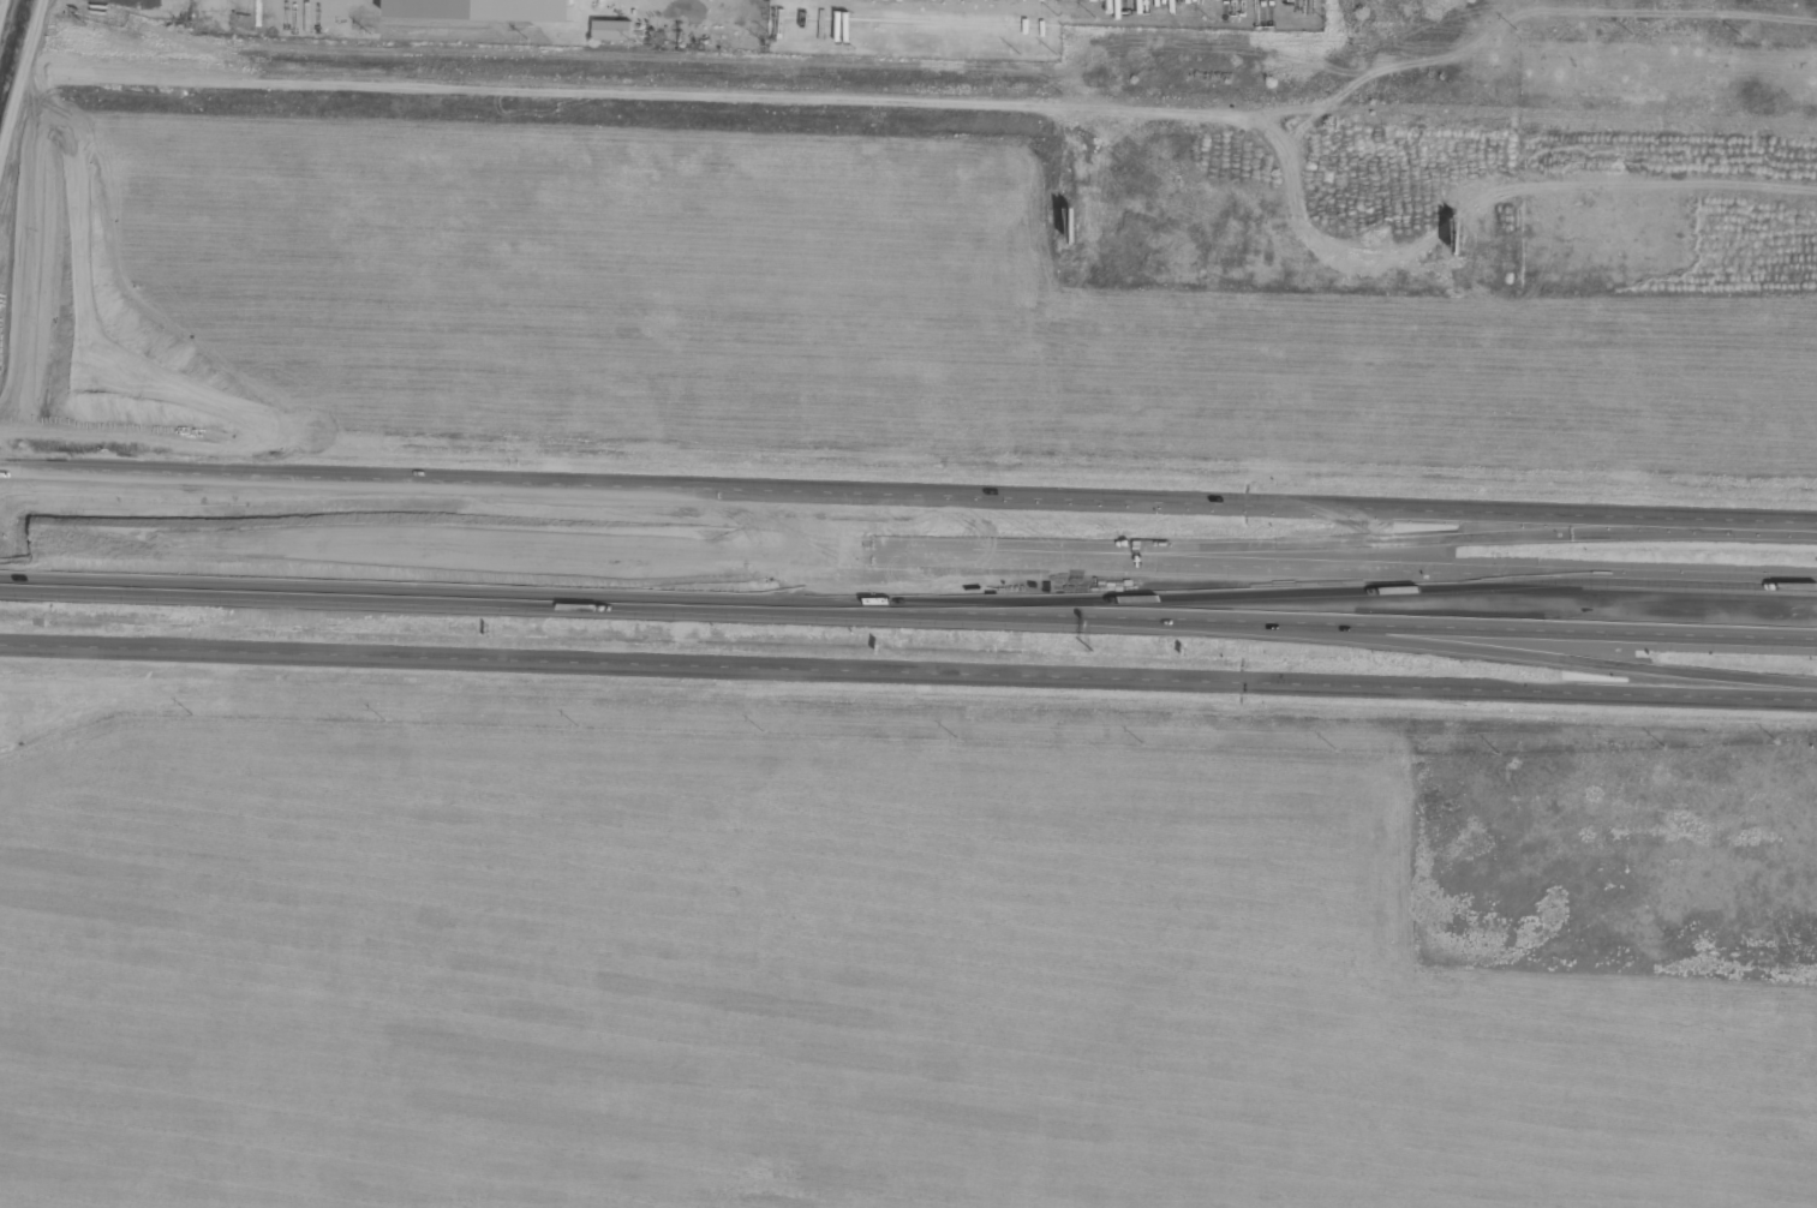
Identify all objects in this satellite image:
building: (609, 28)
road: (908, 489)
road: (1374, 542)
road: (908, 554)
road: (908, 612)
road: (1511, 653)
road: (908, 674)

